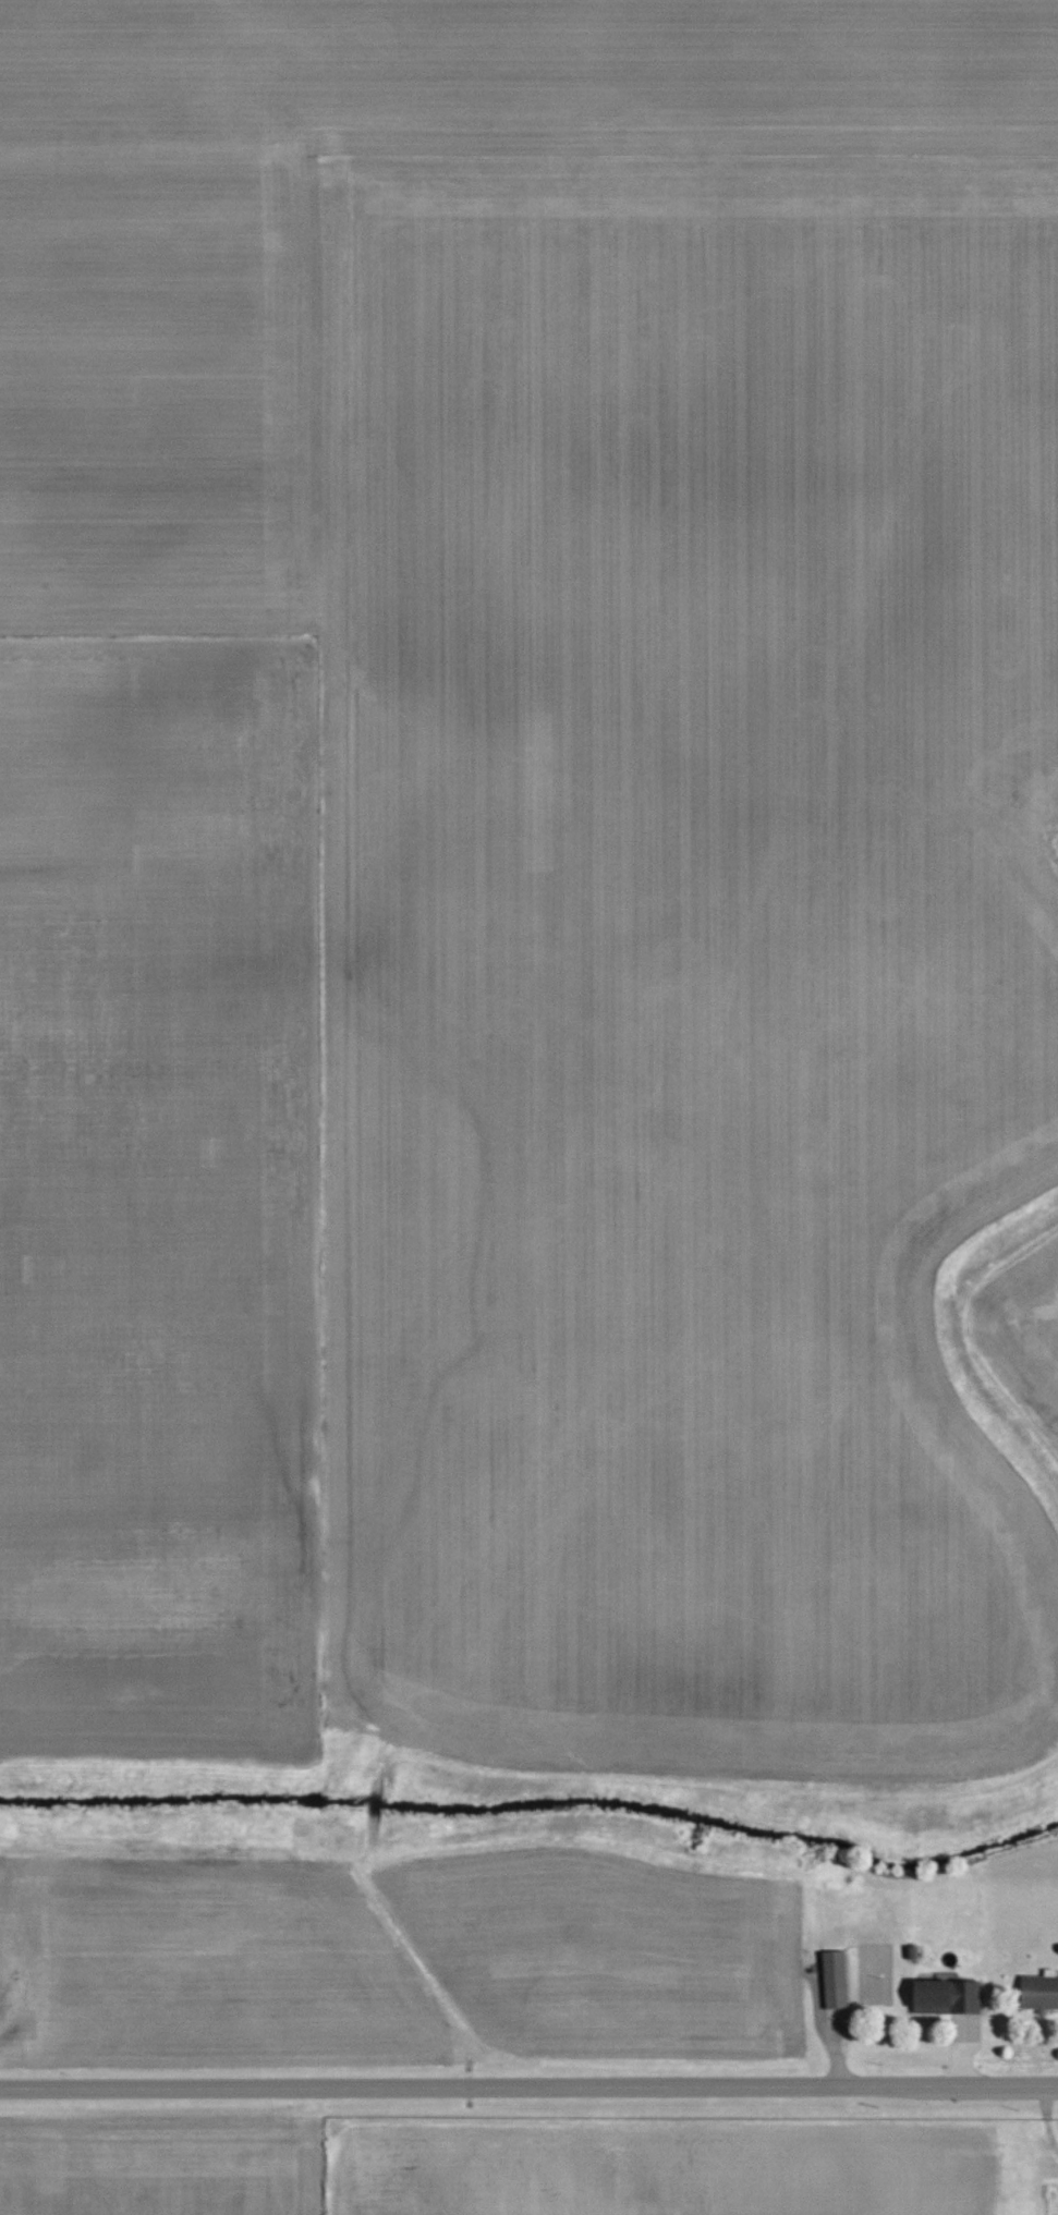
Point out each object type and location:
building: (838, 1979)
building: (1041, 1991)
building: (951, 1995)
road: (528, 2092)
airport: (692, 2167)

